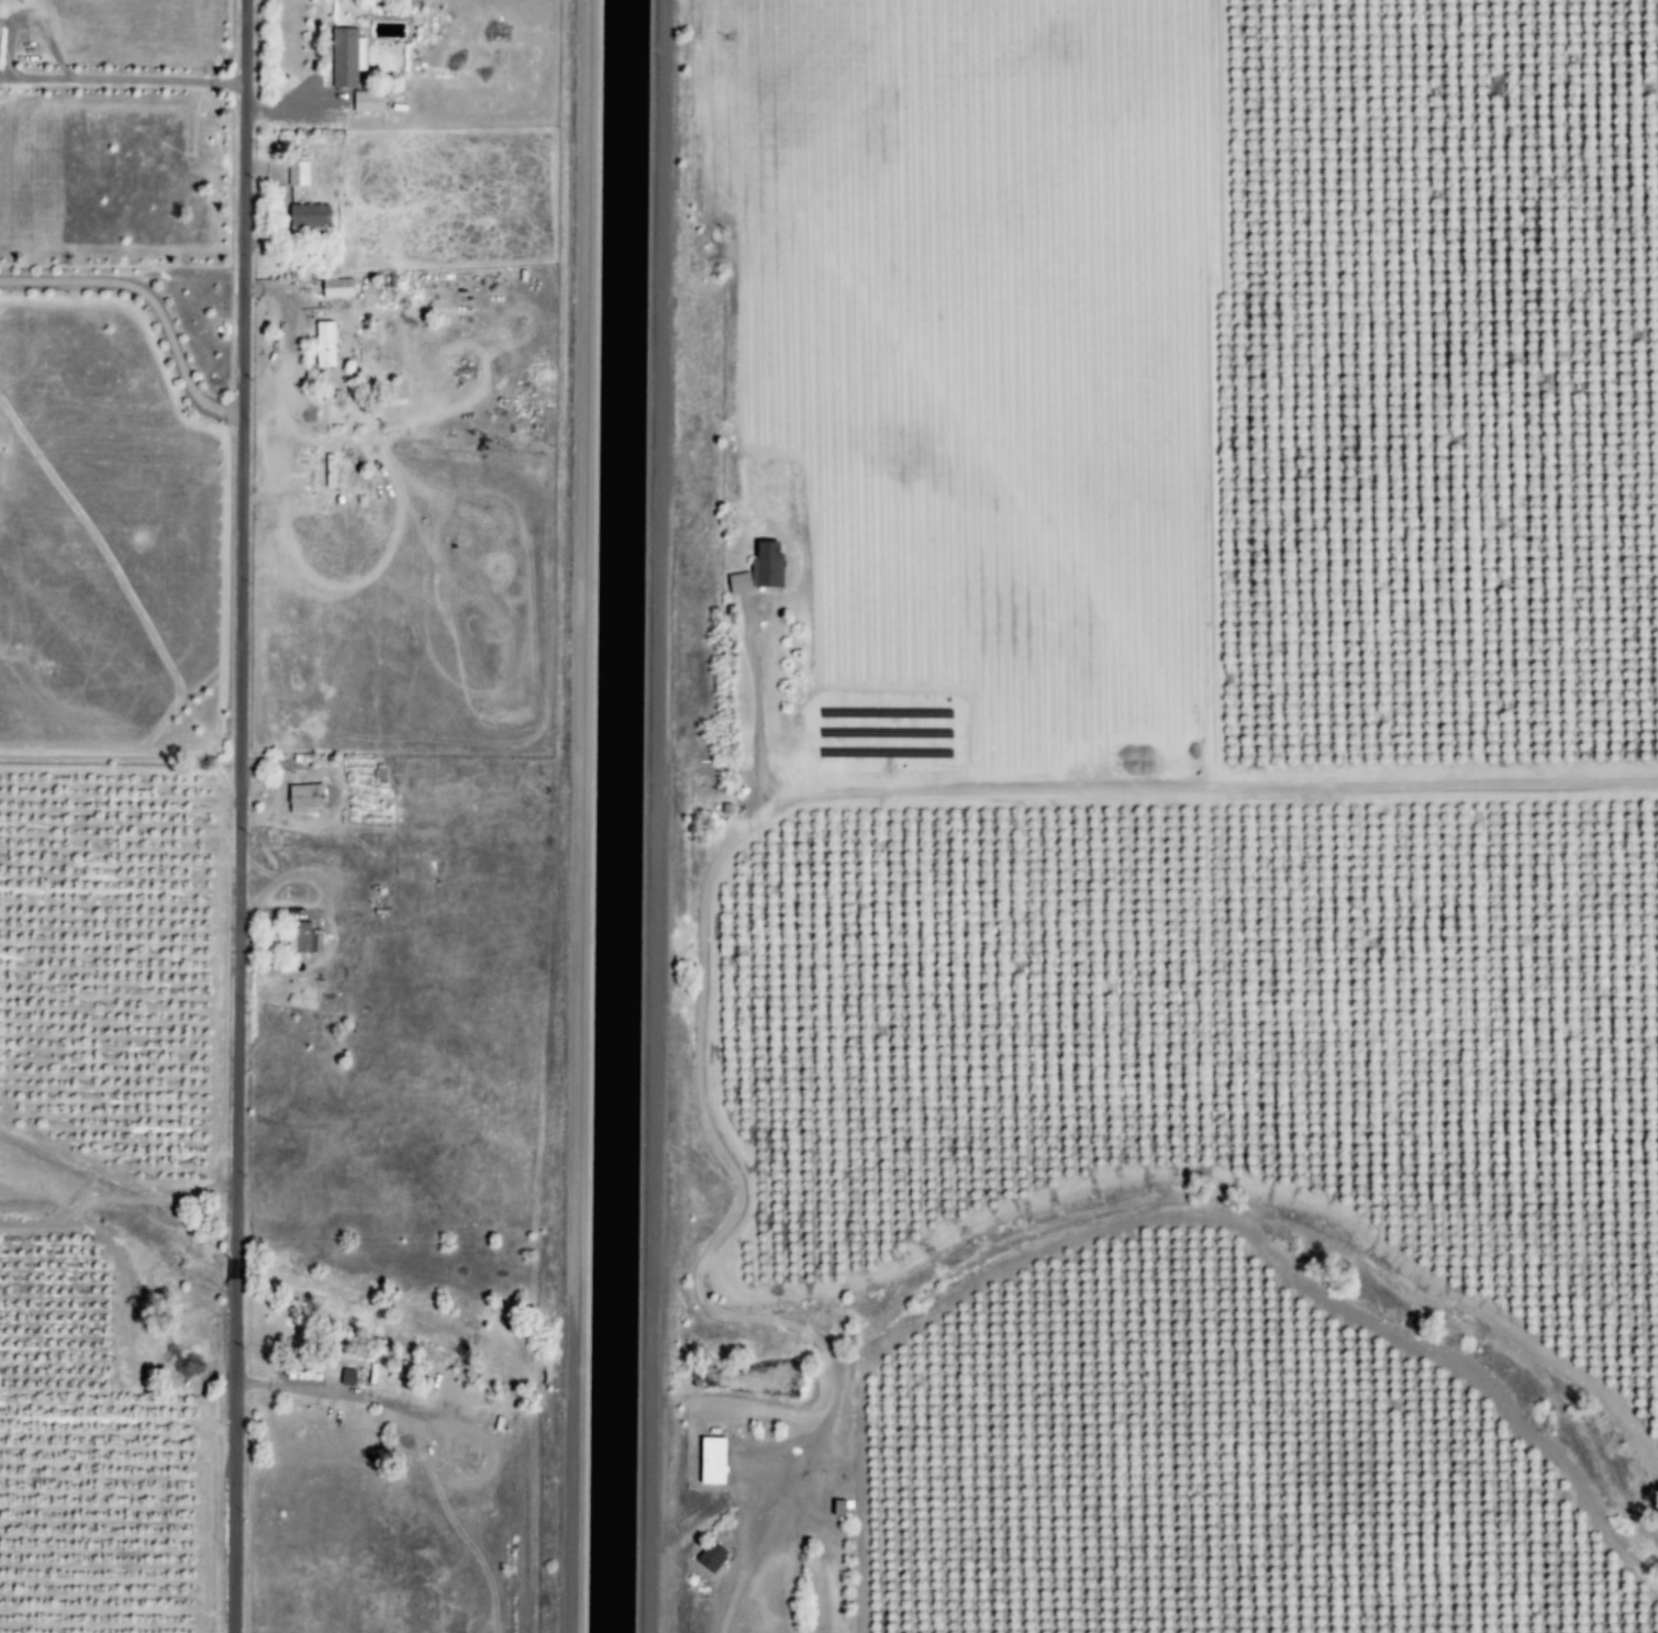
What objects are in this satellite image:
building: (344, 56)
road: (121, 78)
building: (365, 101)
building: (294, 173)
building: (304, 215)
building: (334, 288)
road: (149, 300)
building: (321, 344)
building: (326, 470)
building: (756, 569)
road: (1208, 788)
building: (302, 797)
road: (235, 815)
road: (572, 815)
road: (654, 816)
building: (302, 937)
building: (708, 1459)
building: (709, 1556)

